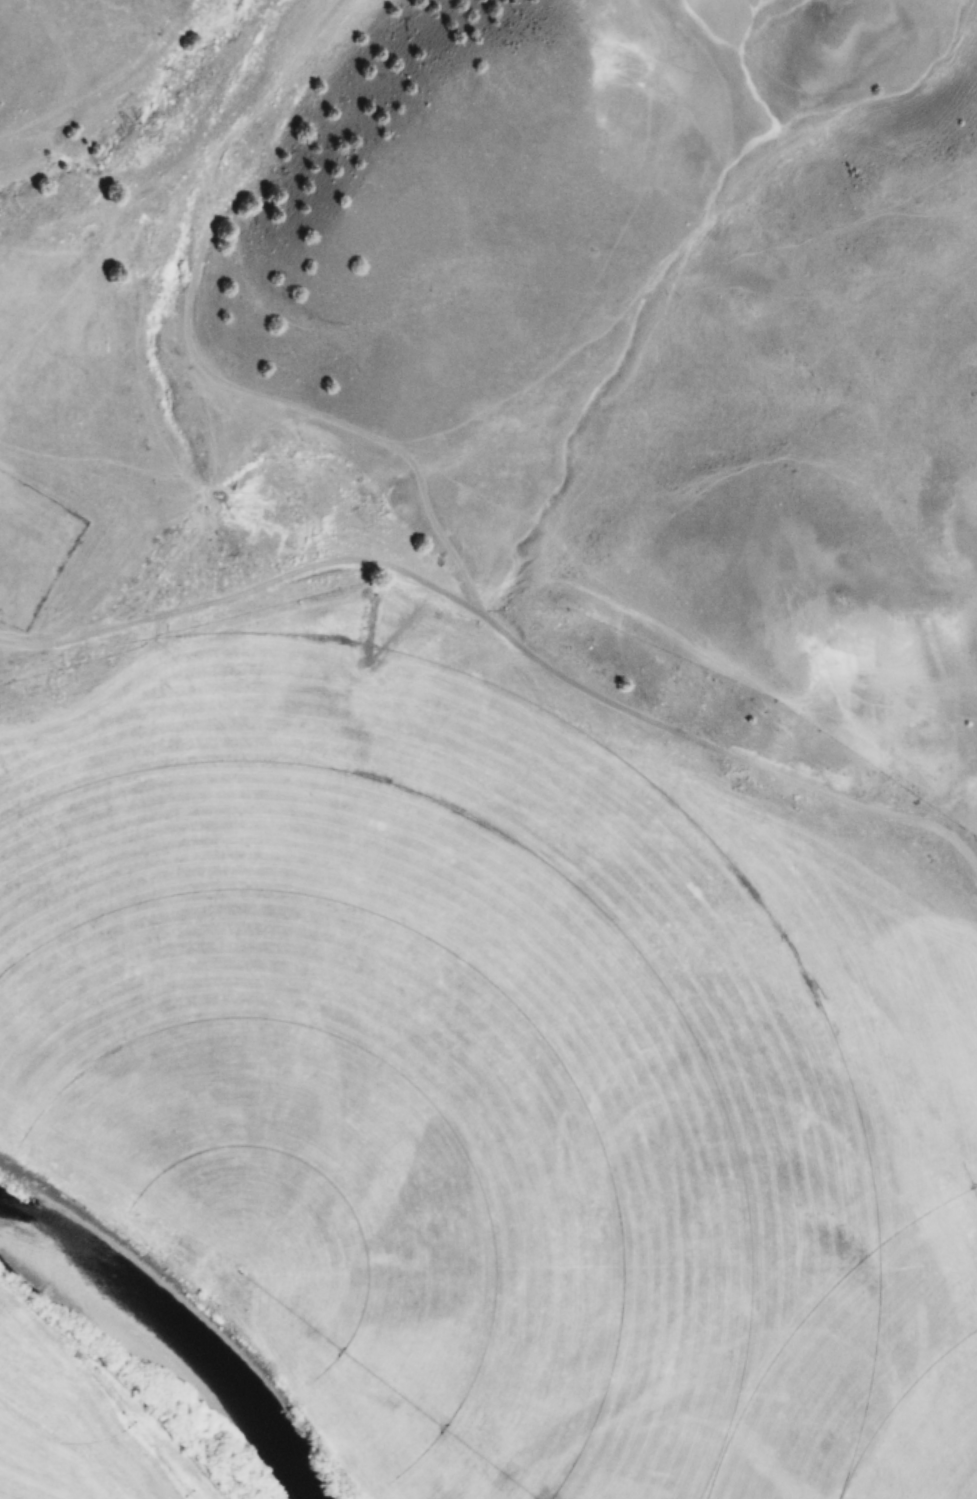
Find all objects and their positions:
river: (168, 1338)

